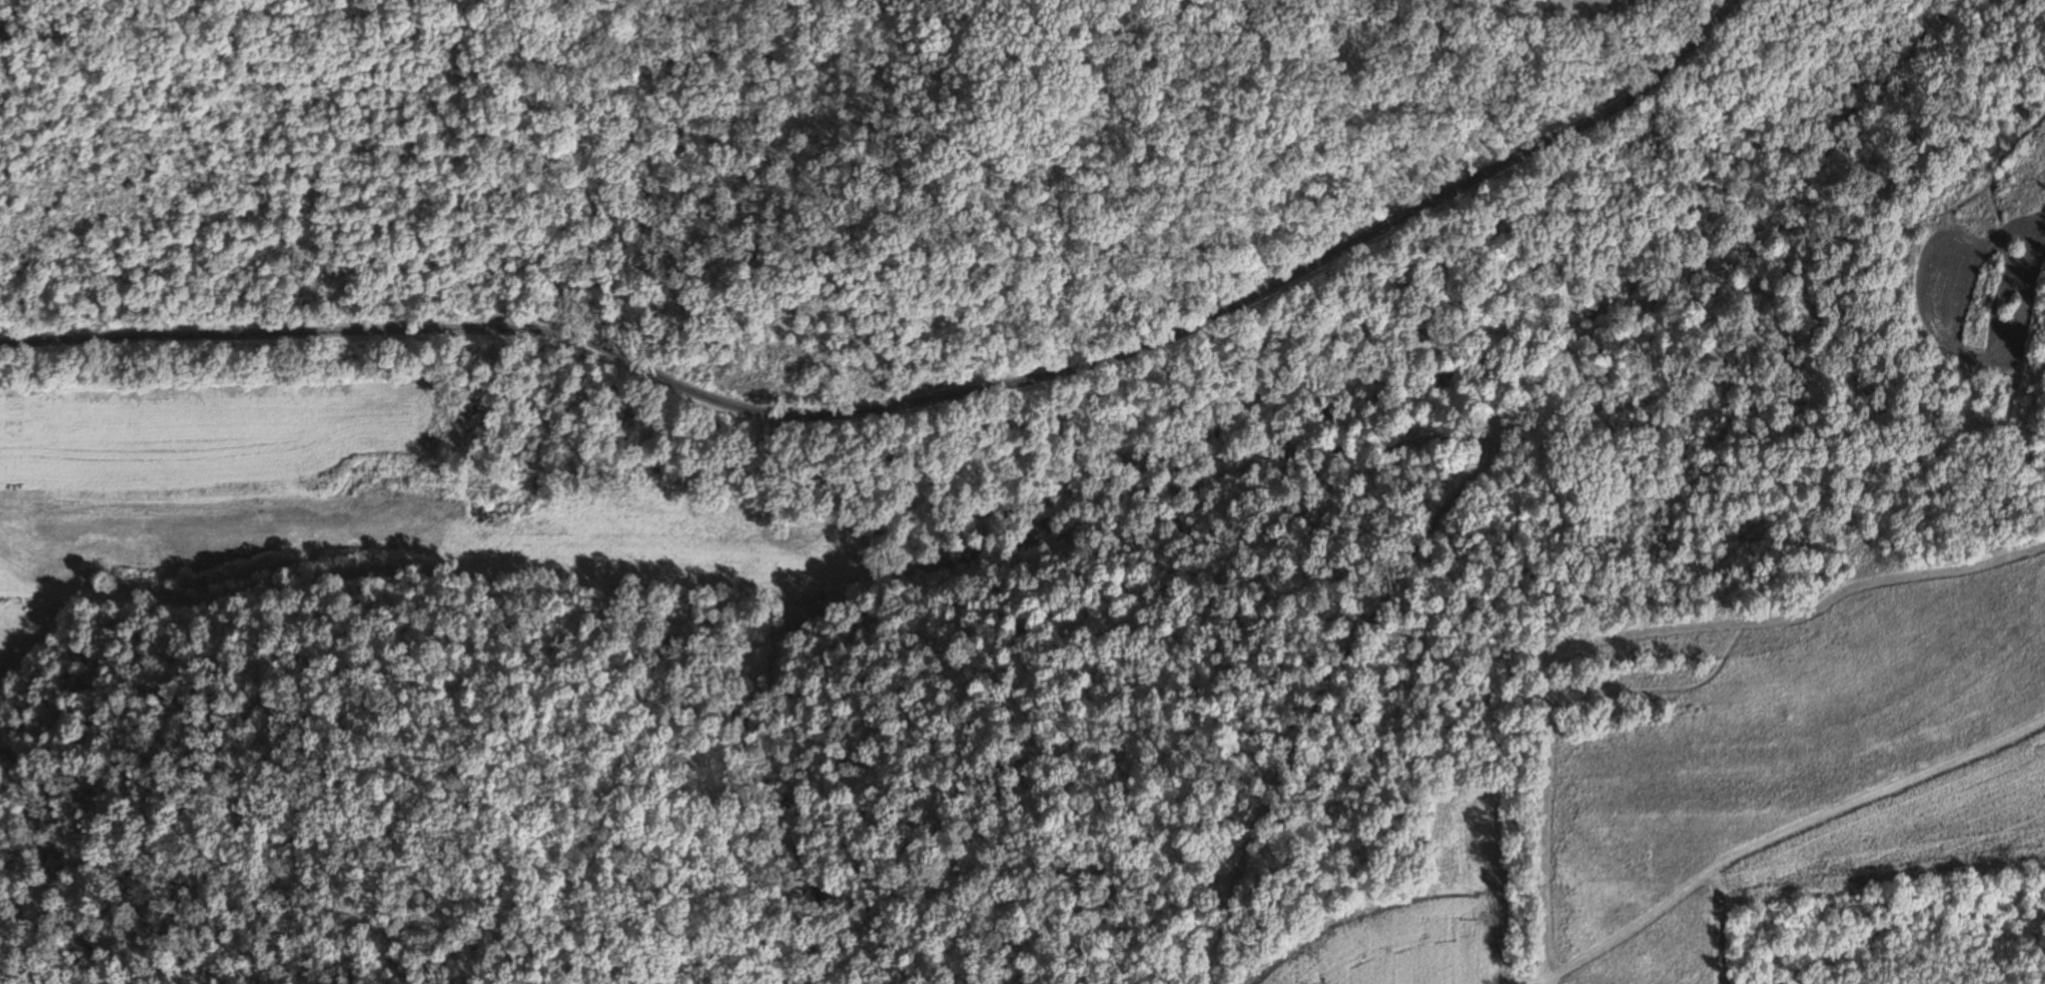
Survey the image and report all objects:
road: (909, 402)

